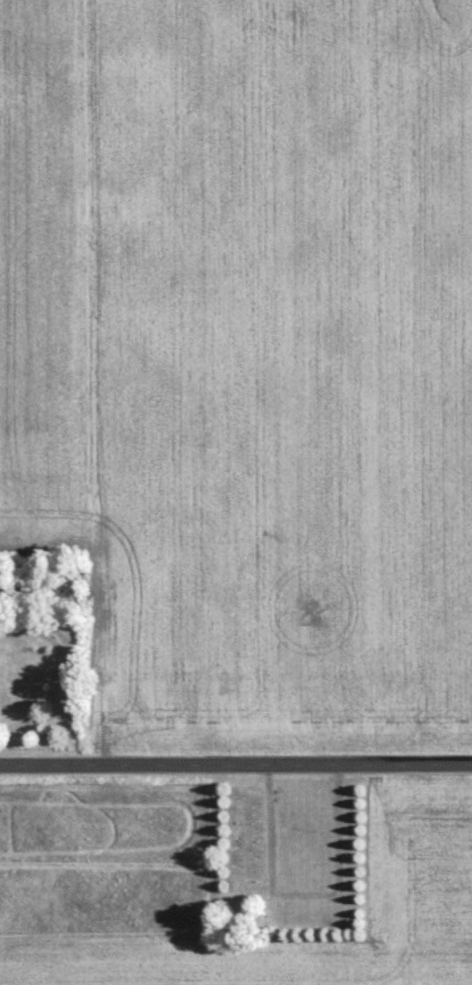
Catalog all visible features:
road: (236, 765)
park: (291, 860)

